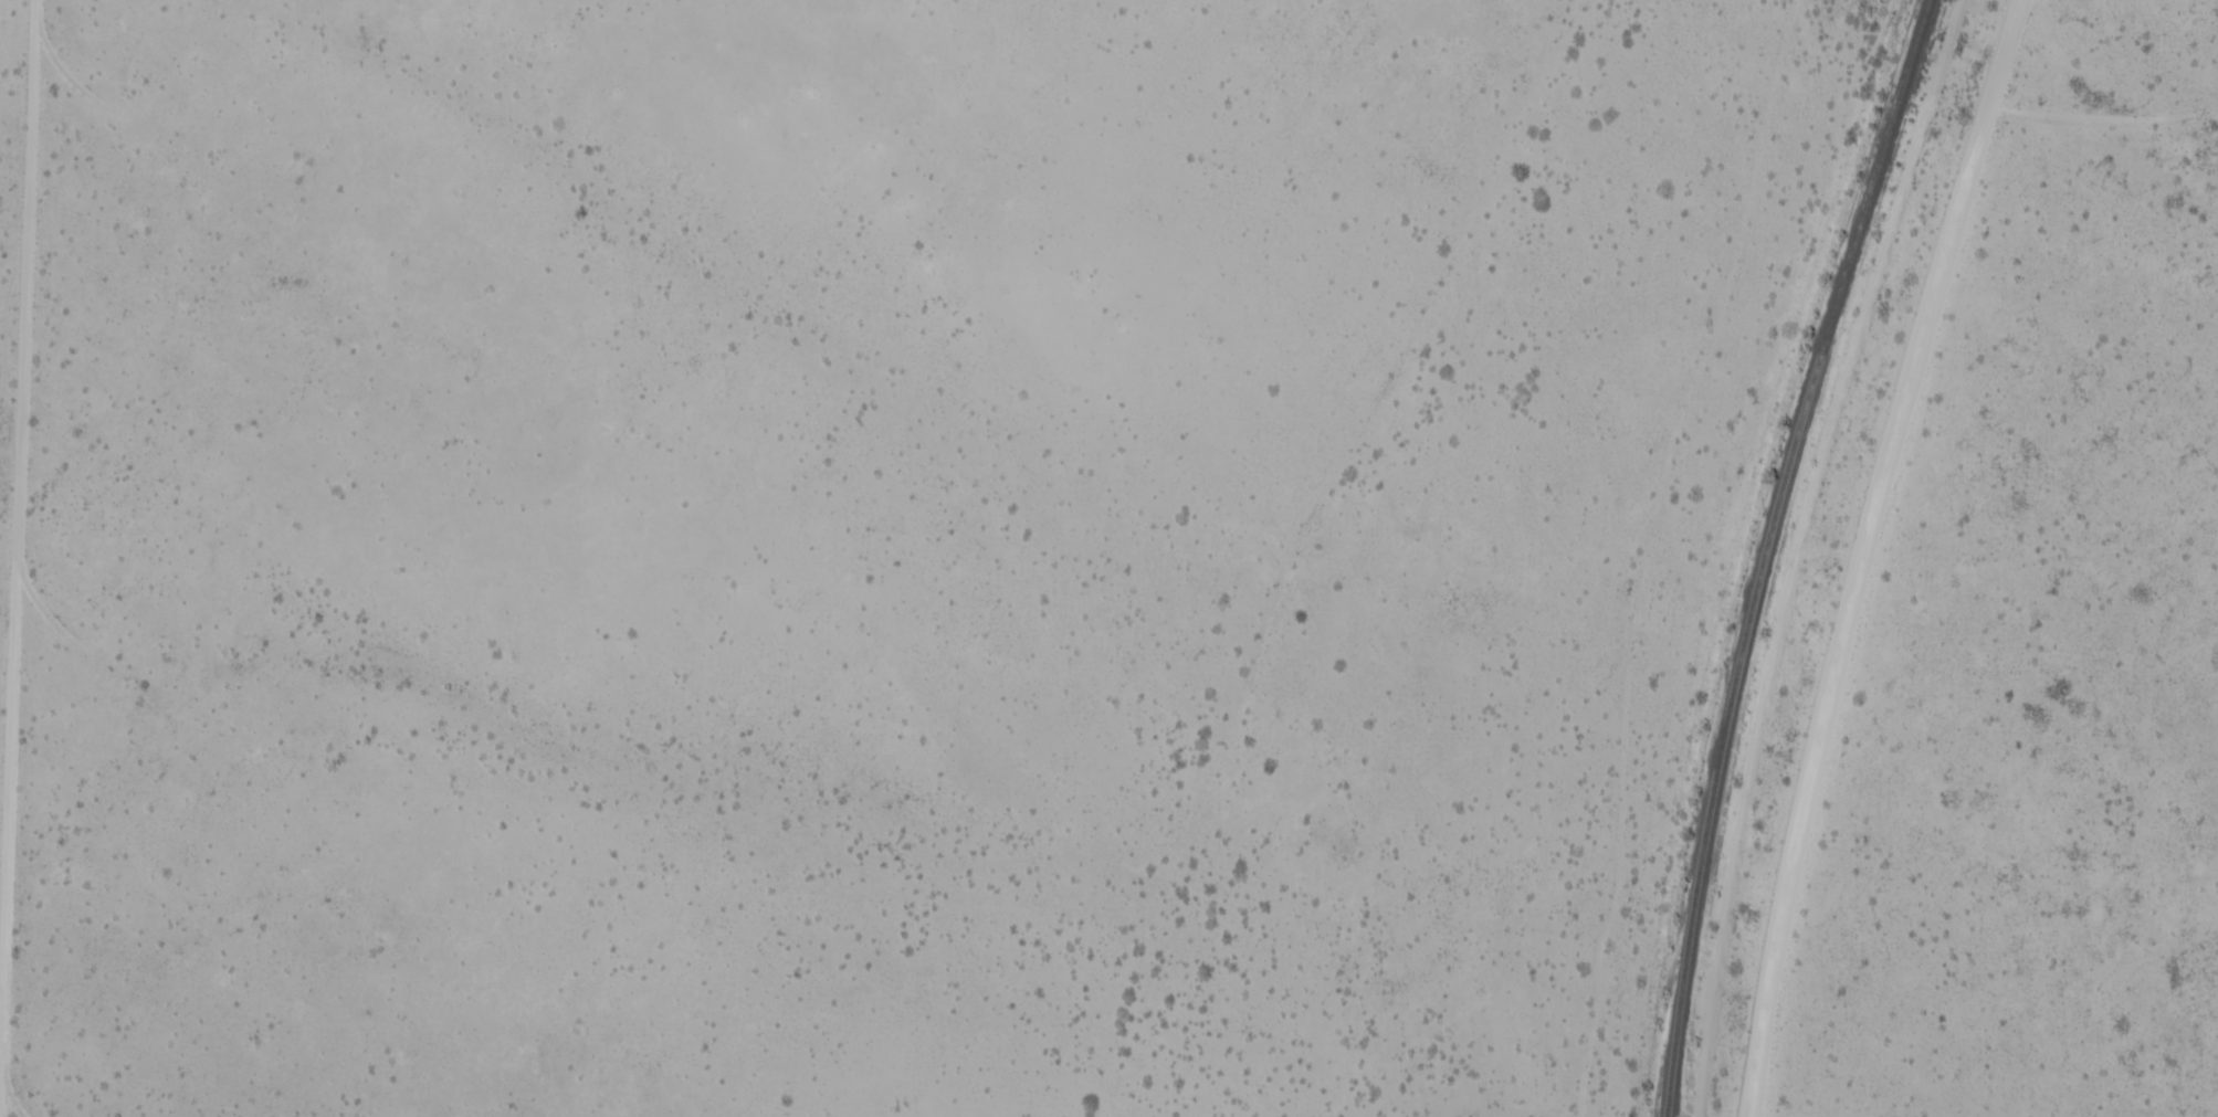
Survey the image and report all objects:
railway: (1767, 550)
road: (1863, 554)

